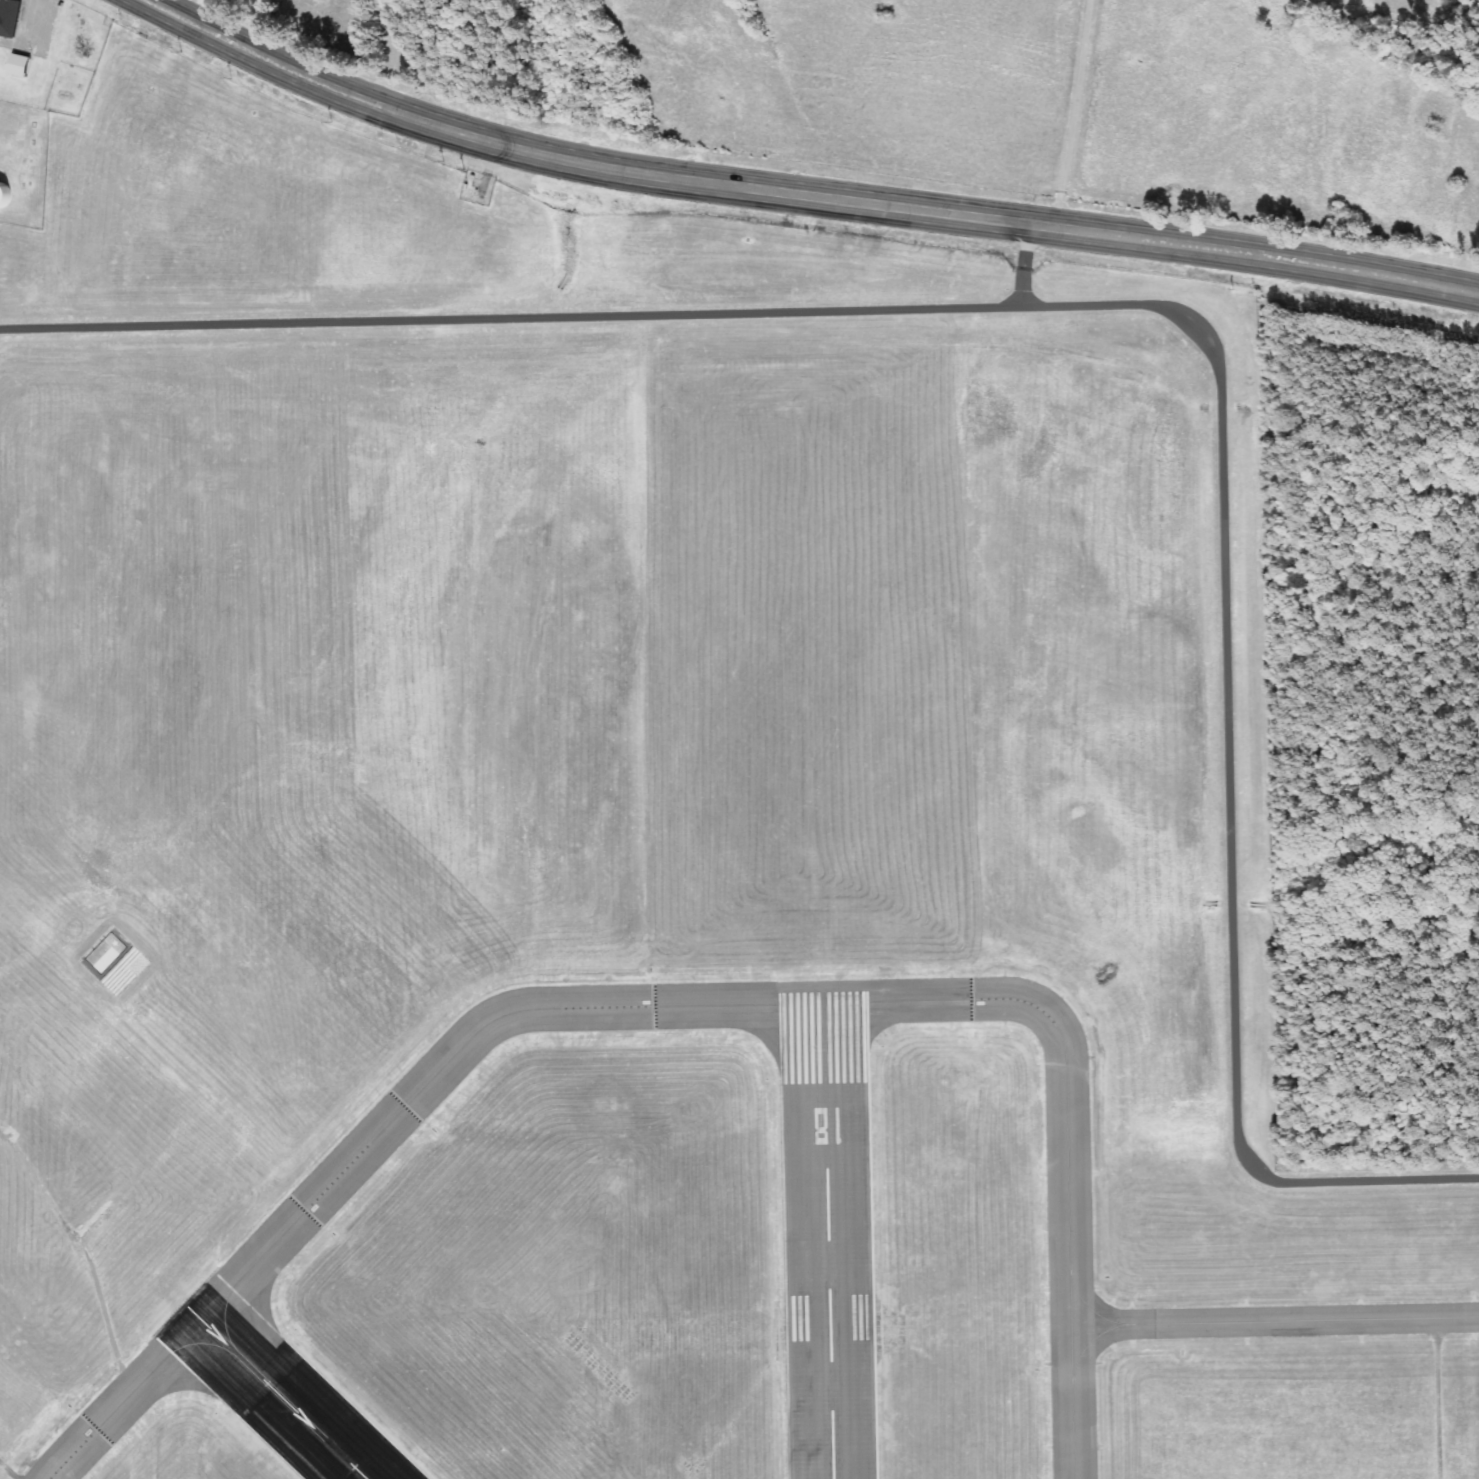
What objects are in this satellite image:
parking lot: (0, 2)
road: (183, 9)
building: (9, 17)
road: (38, 23)
parking lot: (33, 29)
building: (20, 66)
road: (395, 111)
road: (1074, 114)
building: (11, 196)
road: (1073, 230)
airport: (715, 841)
building: (107, 954)
airport taxiway: (899, 1001)
airport taxiway: (386, 1127)
airport taxiway: (1069, 1205)
airport runway: (828, 1232)
airport taxiway: (1275, 1322)
airport runway: (277, 1393)

